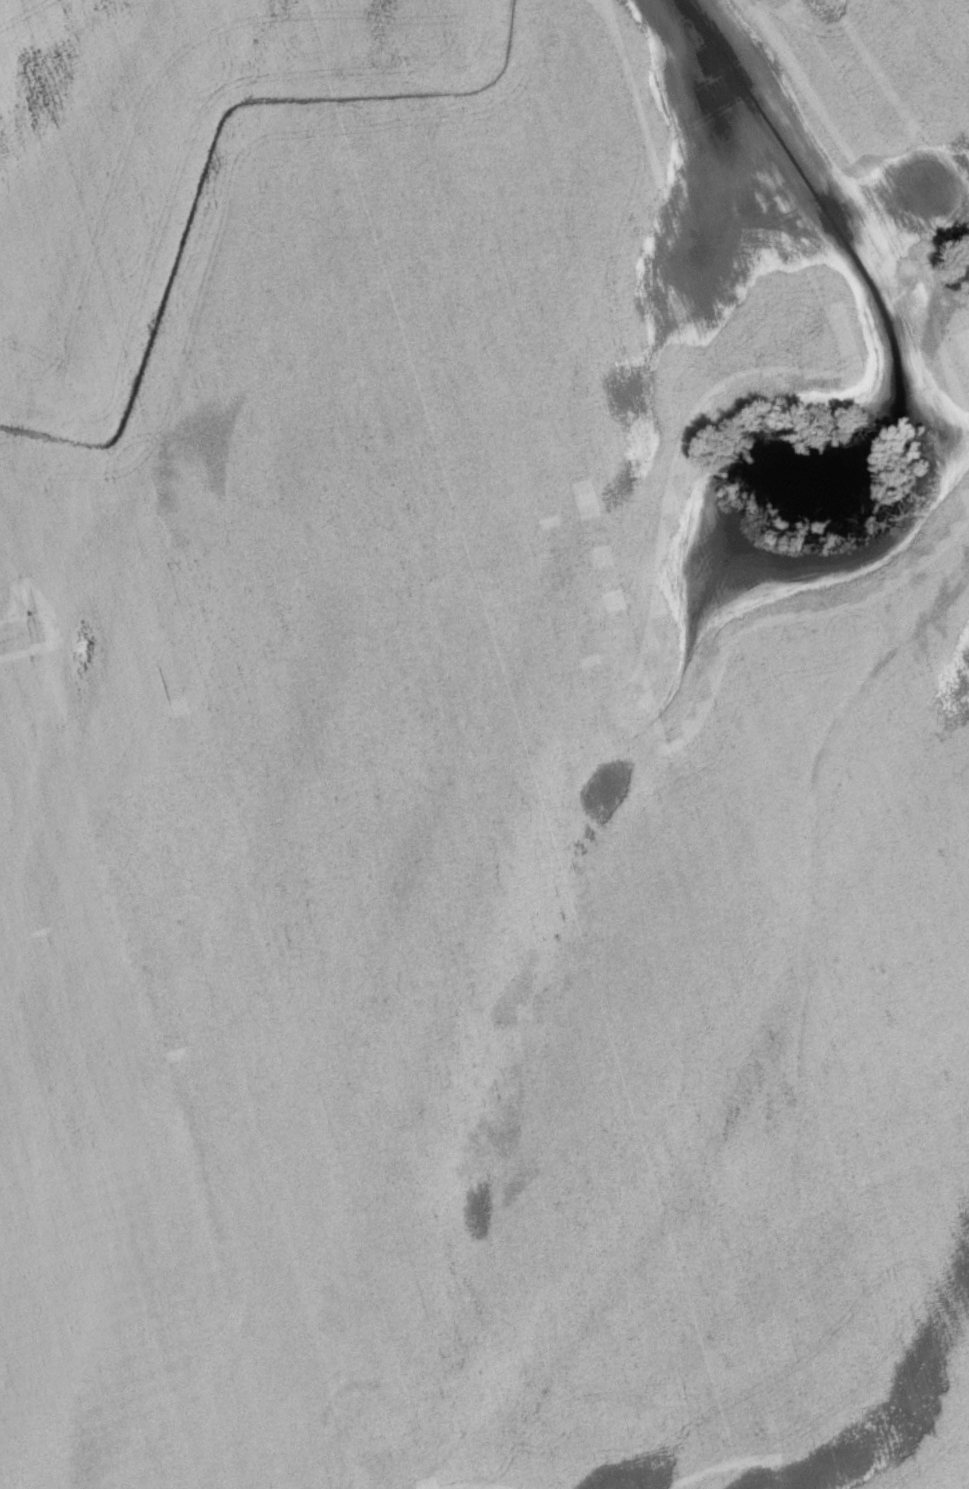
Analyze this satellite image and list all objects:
crop: (478, 749)
road: (151, 1032)

